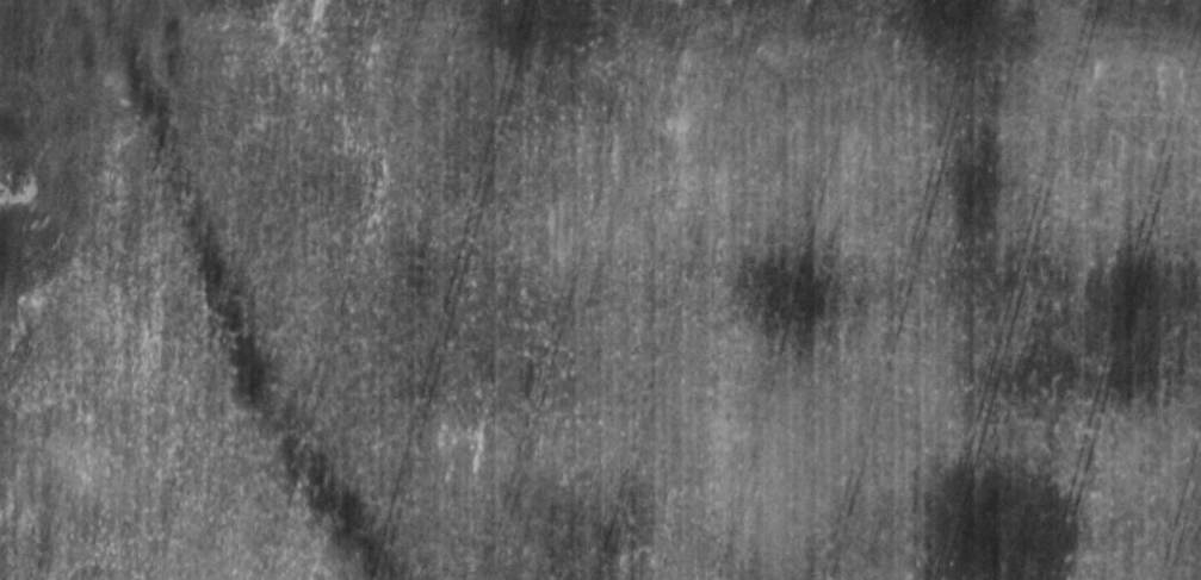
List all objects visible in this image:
crop: (600, 289)

